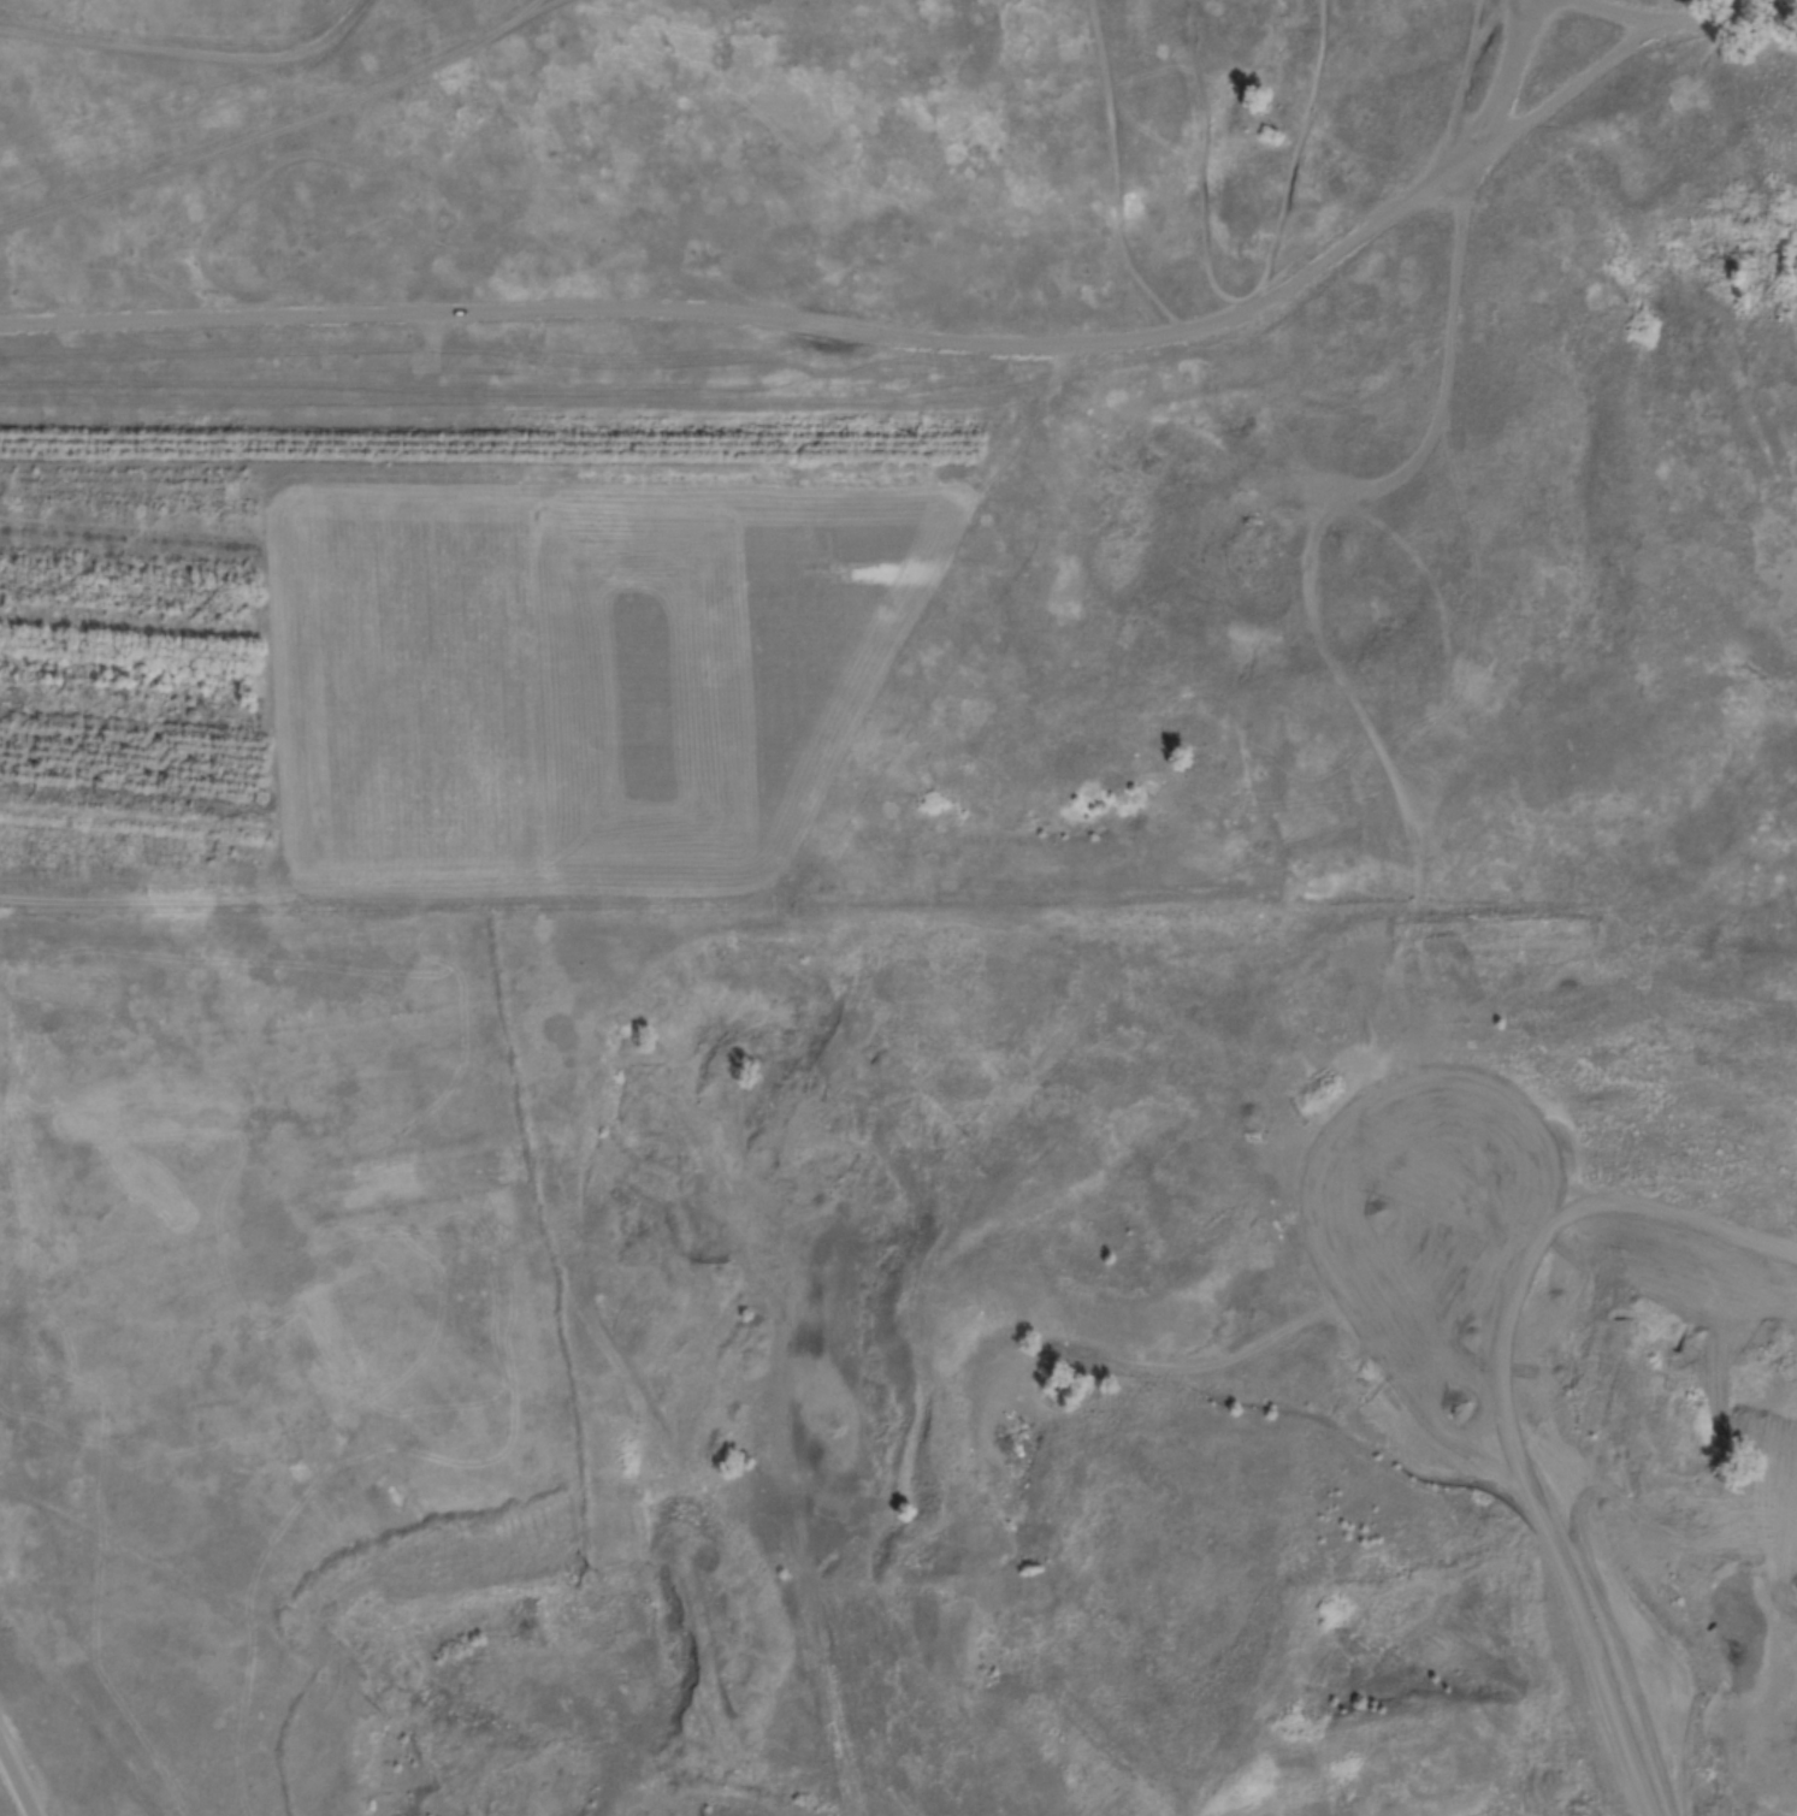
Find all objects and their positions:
road: (971, 469)
road: (1566, 1596)
road: (19, 1773)

